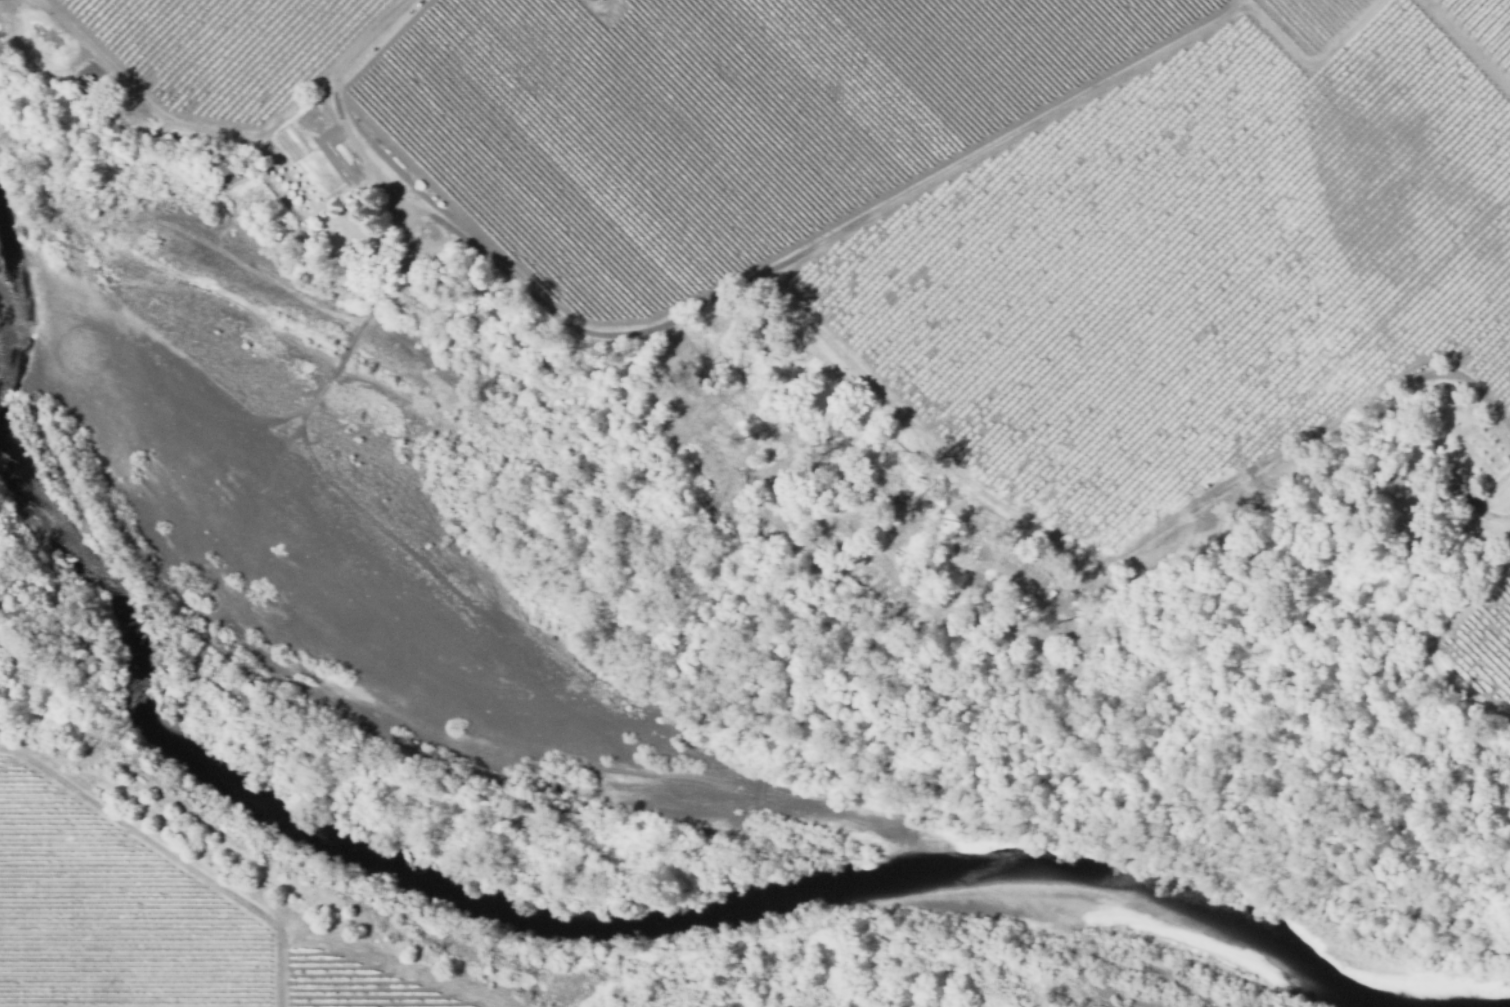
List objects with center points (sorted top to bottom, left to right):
building: (84, 87)
building: (1444, 489)
road: (179, 853)
river: (640, 926)

